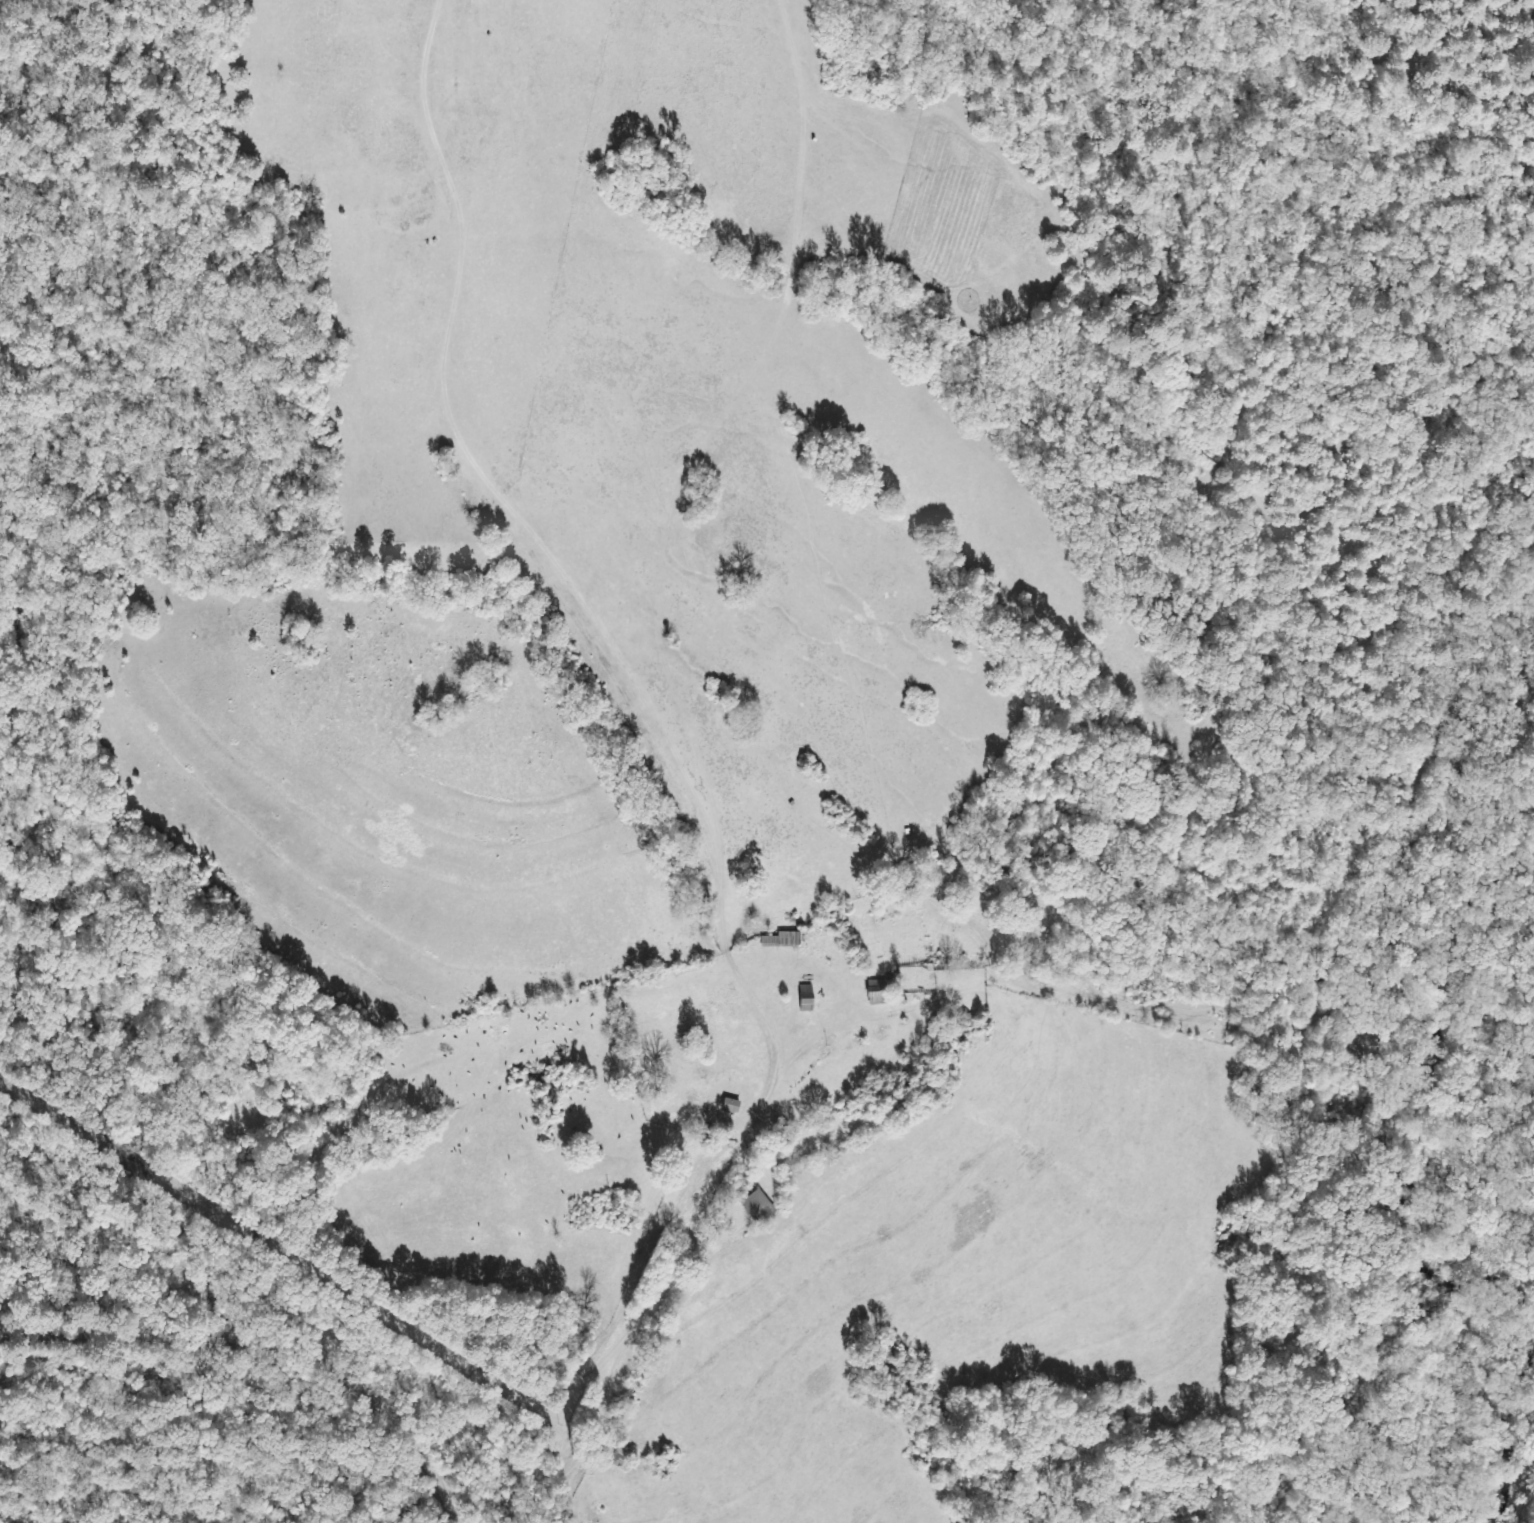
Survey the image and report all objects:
road: (58, 1168)
road: (639, 1291)
road: (260, 1348)
road: (486, 1412)
road: (440, 1476)

